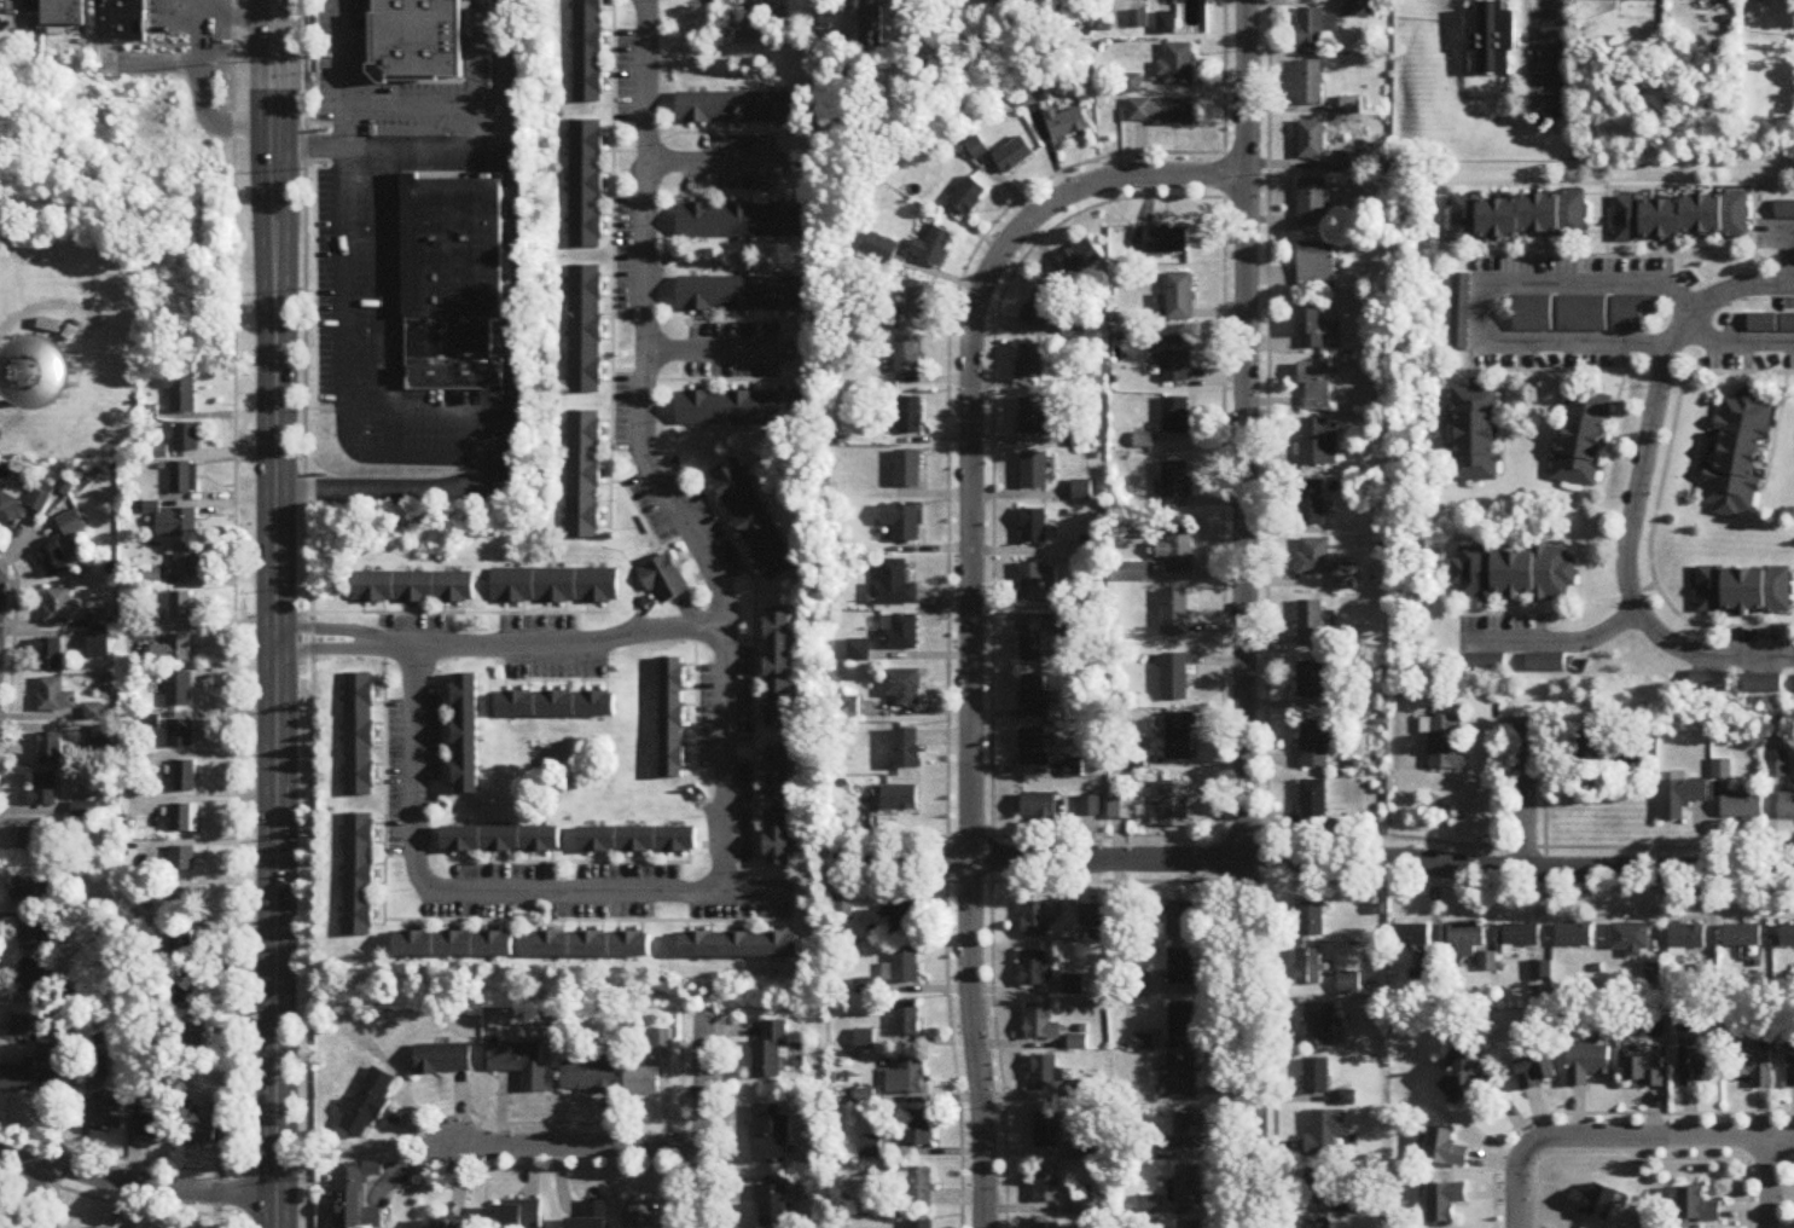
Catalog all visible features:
building: (992, 0)
building: (1622, 0)
building: (1360, 10)
building: (63, 13)
road: (639, 13)
road: (645, 13)
road: (237, 17)
building: (120, 19)
building: (871, 23)
building: (1000, 24)
building: (1165, 24)
building: (1316, 30)
building: (417, 40)
building: (1488, 40)
road: (1551, 51)
building: (587, 52)
road: (339, 54)
road: (480, 54)
building: (1177, 65)
road: (501, 73)
building: (376, 74)
building: (1308, 85)
road: (202, 91)
building: (1032, 95)
building: (1351, 106)
road: (422, 109)
building: (738, 109)
building: (1161, 112)
building: (1068, 123)
road: (696, 132)
building: (1311, 141)
road: (390, 145)
building: (976, 149)
building: (1014, 156)
road: (406, 158)
road: (716, 162)
road: (412, 174)
road: (449, 174)
building: (585, 185)
road: (701, 191)
road: (1138, 191)
building: (969, 197)
building: (1311, 204)
building: (1784, 212)
building: (1682, 216)
building: (1519, 218)
building: (741, 222)
building: (405, 239)
building: (1166, 241)
building: (454, 247)
building: (934, 248)
road: (1792, 254)
building: (1081, 259)
road: (609, 263)
building: (1316, 265)
road: (509, 279)
road: (406, 280)
road: (1486, 294)
building: (741, 295)
building: (1180, 297)
road: (390, 299)
building: (918, 301)
road: (31, 308)
building: (1040, 311)
building: (1633, 313)
building: (1459, 314)
building: (1583, 314)
building: (1532, 315)
road: (709, 320)
building: (1771, 324)
building: (1312, 329)
building: (584, 330)
building: (406, 336)
building: (448, 336)
road: (644, 337)
road: (1738, 344)
road: (718, 349)
building: (907, 359)
building: (1175, 359)
road: (341, 360)
building: (1030, 363)
building: (454, 370)
building: (51, 371)
road: (698, 378)
water tower: (47, 380)
road: (447, 387)
building: (1316, 388)
building: (180, 395)
road: (406, 400)
building: (739, 411)
road: (449, 412)
building: (910, 417)
building: (1033, 417)
building: (1175, 417)
building: (1474, 436)
building: (186, 438)
building: (1580, 439)
building: (1319, 444)
building: (1737, 456)
building: (907, 471)
building: (1034, 473)
building: (582, 476)
building: (182, 479)
building: (1177, 487)
road: (418, 490)
road: (1636, 493)
building: (1311, 504)
road: (635, 509)
building: (11, 510)
road: (944, 519)
building: (753, 522)
building: (176, 523)
building: (71, 525)
building: (906, 526)
building: (1033, 528)
road: (679, 532)
road: (673, 550)
building: (1178, 551)
building: (1313, 558)
building: (54, 562)
building: (186, 563)
building: (1131, 573)
building: (1347, 573)
building: (1514, 574)
building: (664, 581)
building: (1032, 583)
building: (893, 586)
building: (413, 587)
building: (556, 587)
building: (1744, 591)
road: (970, 602)
building: (57, 607)
building: (181, 607)
road: (460, 612)
road: (274, 613)
road: (312, 613)
road: (232, 614)
building: (1174, 614)
road: (1246, 614)
building: (98, 622)
building: (1311, 625)
road: (577, 626)
road: (330, 629)
building: (900, 635)
building: (1032, 641)
road: (1552, 642)
building: (99, 648)
road: (329, 648)
building: (173, 651)
road: (11, 654)
building: (50, 655)
building: (1485, 664)
building: (1545, 664)
road: (754, 666)
building: (779, 670)
building: (1175, 678)
building: (1311, 680)
road: (1273, 682)
building: (1708, 683)
building: (1760, 685)
building: (904, 688)
building: (179, 690)
building: (56, 697)
building: (1035, 697)
building: (557, 706)
building: (848, 708)
building: (673, 719)
building: (180, 735)
building: (466, 735)
building: (358, 736)
building: (1179, 737)
building: (1317, 743)
road: (738, 745)
building: (1447, 745)
building: (51, 749)
building: (907, 749)
building: (1034, 749)
building: (1644, 751)
building: (1587, 752)
building: (186, 777)
road: (1499, 778)
road: (382, 782)
road: (1550, 786)
building: (45, 790)
road: (1523, 797)
building: (900, 799)
building: (1680, 799)
building: (1313, 803)
building: (1174, 804)
building: (1090, 806)
building: (1742, 806)
building: (778, 807)
building: (1786, 807)
building: (1039, 809)
building: (1122, 810)
building: (86, 811)
building: (184, 819)
road: (979, 834)
building: (500, 840)
building: (638, 840)
building: (29, 844)
road: (396, 855)
road: (1318, 858)
road: (565, 861)
road: (1275, 861)
building: (182, 862)
building: (358, 876)
road: (1062, 880)
road: (1359, 882)
building: (24, 886)
road: (722, 886)
road: (667, 890)
road: (756, 890)
building: (1090, 916)
road: (585, 919)
building: (1121, 919)
building: (901, 920)
building: (1310, 921)
building: (1034, 922)
building: (1180, 922)
building: (1411, 936)
building: (33, 938)
building: (1574, 938)
building: (1742, 938)
building: (1787, 938)
building: (1519, 939)
building: (1465, 940)
building: (1630, 940)
building: (1686, 940)
building: (181, 946)
building: (454, 946)
building: (591, 946)
building: (739, 948)
building: (906, 967)
building: (1308, 968)
building: (1038, 971)
building: (1182, 971)
building: (31, 978)
building: (1349, 984)
building: (1074, 987)
building: (907, 1020)
building: (1182, 1024)
building: (1041, 1025)
building: (21, 1026)
building: (1320, 1026)
building: (188, 1038)
building: (771, 1053)
building: (45, 1054)
building: (442, 1061)
building: (1589, 1064)
building: (521, 1065)
building: (1696, 1066)
building: (1755, 1066)
building: (1790, 1067)
building: (1647, 1072)
building: (1538, 1073)
building: (1046, 1074)
building: (588, 1076)
building: (912, 1078)
building: (1182, 1078)
building: (1317, 1078)
building: (16, 1081)
building: (1468, 1081)
building: (62, 1082)
building: (643, 1082)
building: (366, 1106)
road: (1598, 1112)
building: (108, 1114)
road: (412, 1114)
road: (727, 1119)
road: (706, 1122)
building: (155, 1125)
building: (919, 1129)
building: (199, 1133)
building: (1047, 1133)
building: (1190, 1134)
building: (1326, 1134)
building: (771, 1136)
road: (1655, 1136)
road: (575, 1137)
building: (1446, 1149)
road: (115, 1155)
road: (1633, 1158)
road: (681, 1162)
road: (1769, 1182)
road: (134, 1184)
building: (1046, 1186)
building: (1189, 1187)
building: (922, 1189)
building: (1320, 1189)
road: (1515, 1189)
road: (37, 1193)
road: (1744, 1193)
road: (1789, 1193)
building: (355, 1198)
road: (115, 1201)
building: (1445, 1203)
building: (1595, 1203)
building: (773, 1206)
building: (1695, 1206)
building: (1358, 1207)
building: (517, 1215)
building: (641, 1215)
building: (592, 1217)
building: (447, 1223)
building: (921, 1224)
building: (1190, 1224)
building: (1318, 1224)
building: (1047, 1226)

